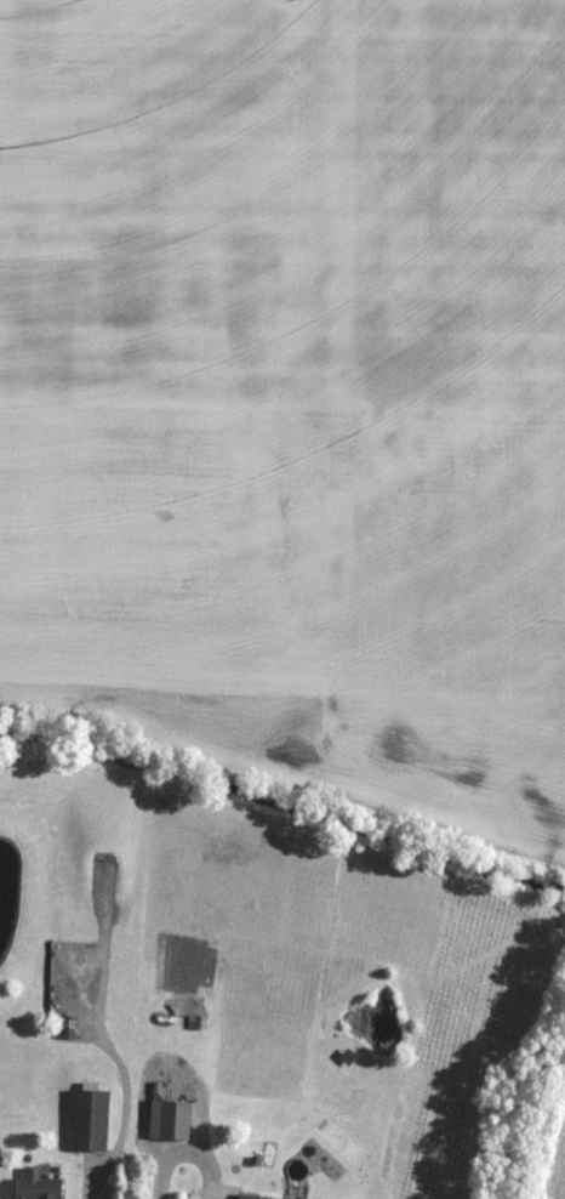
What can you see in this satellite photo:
building: (89, 1121)
building: (167, 1121)
road: (183, 1147)
building: (35, 1188)
building: (245, 1198)

